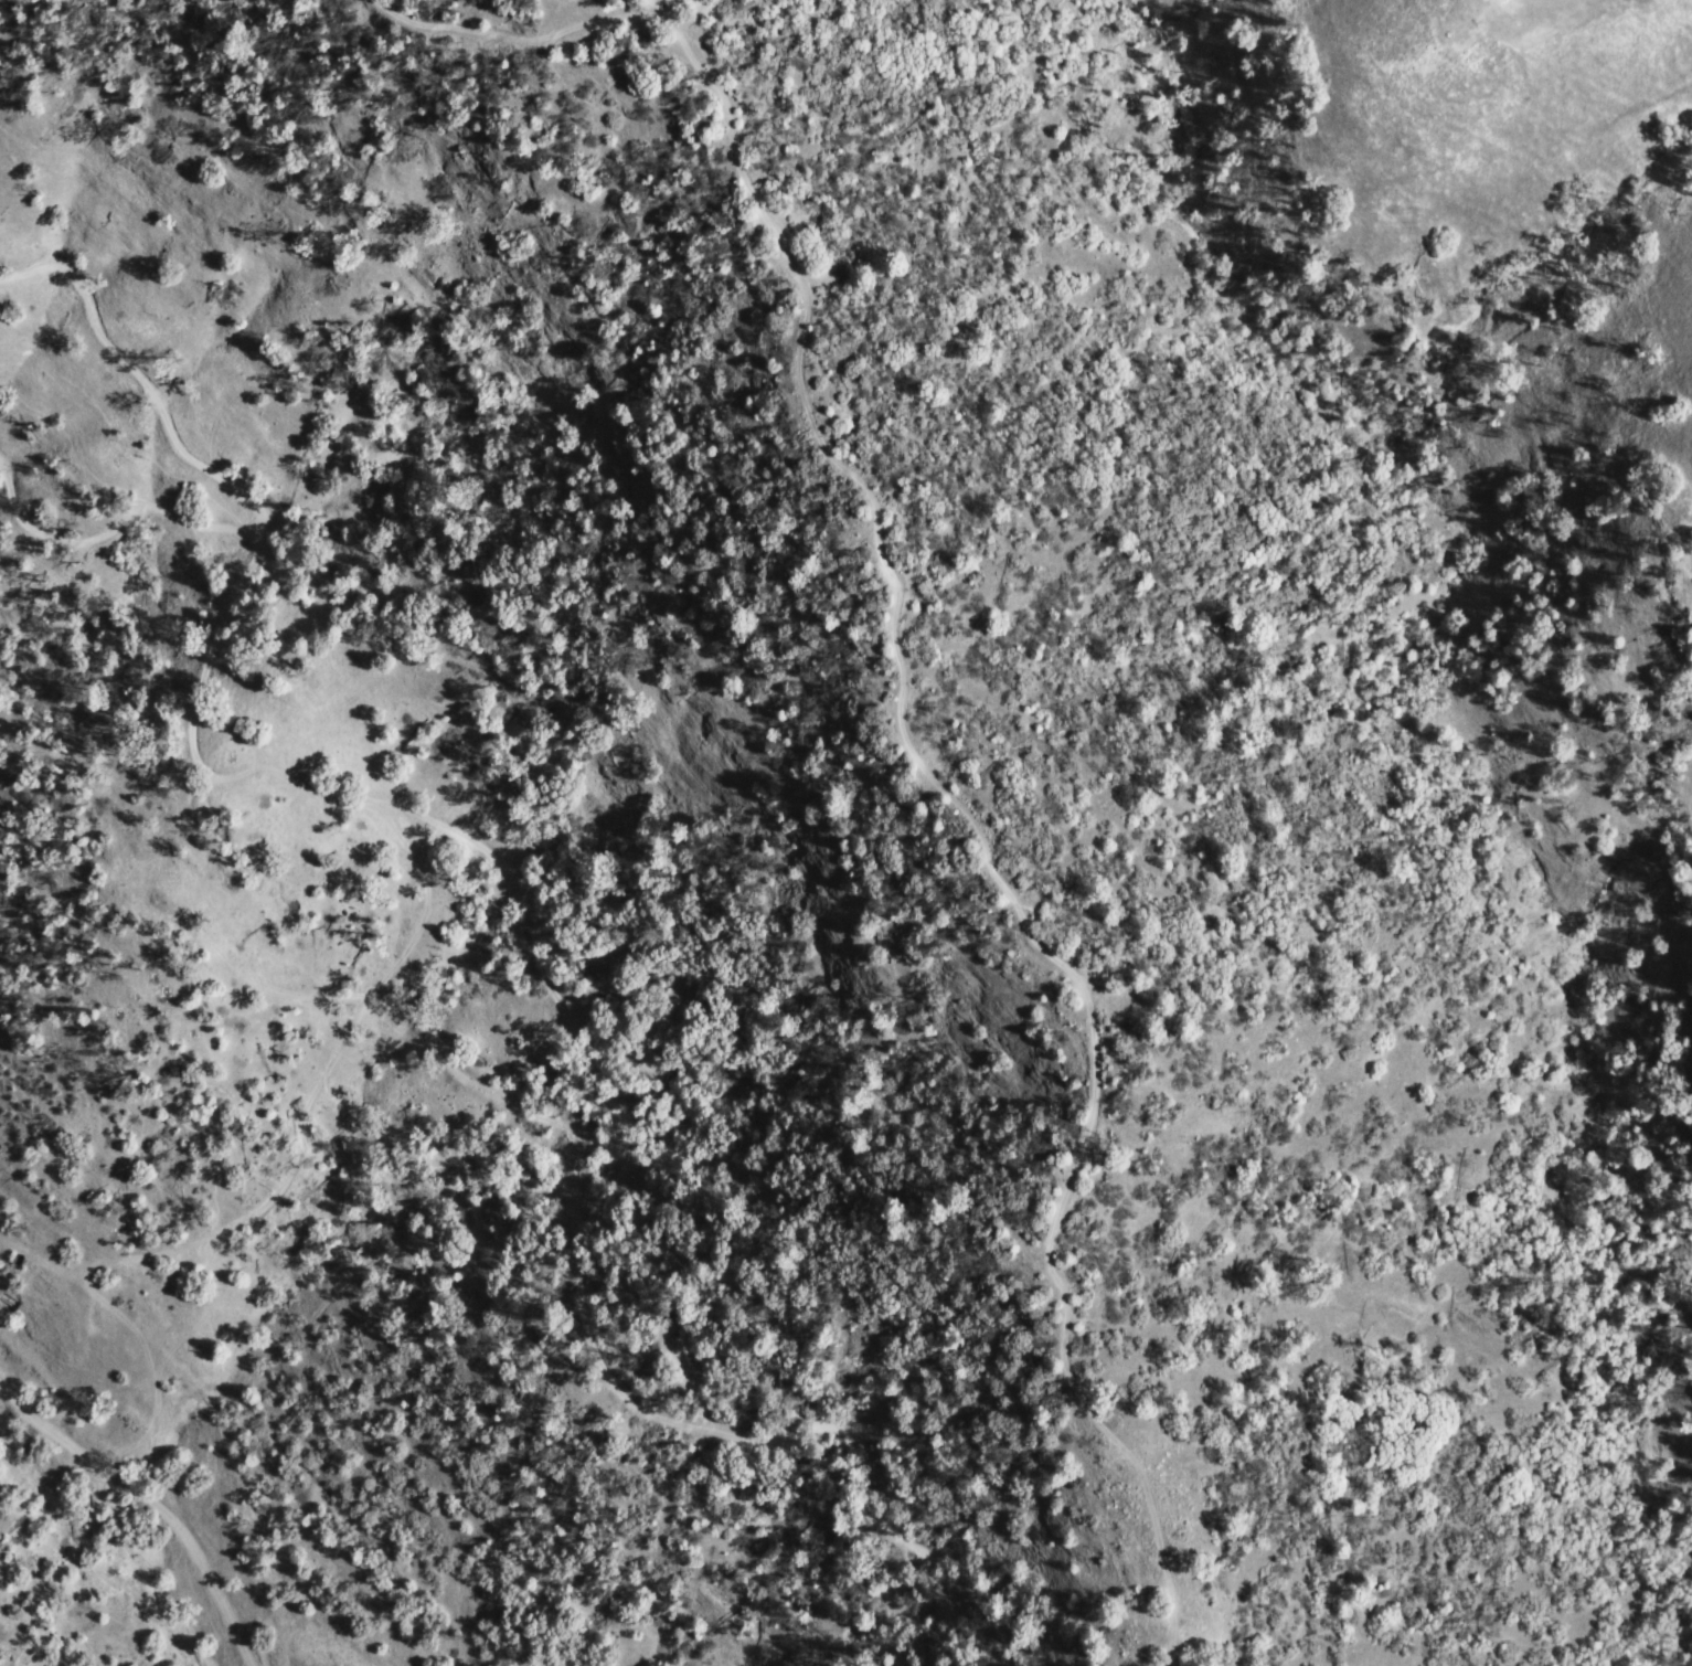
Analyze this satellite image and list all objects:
road: (162, 1495)

